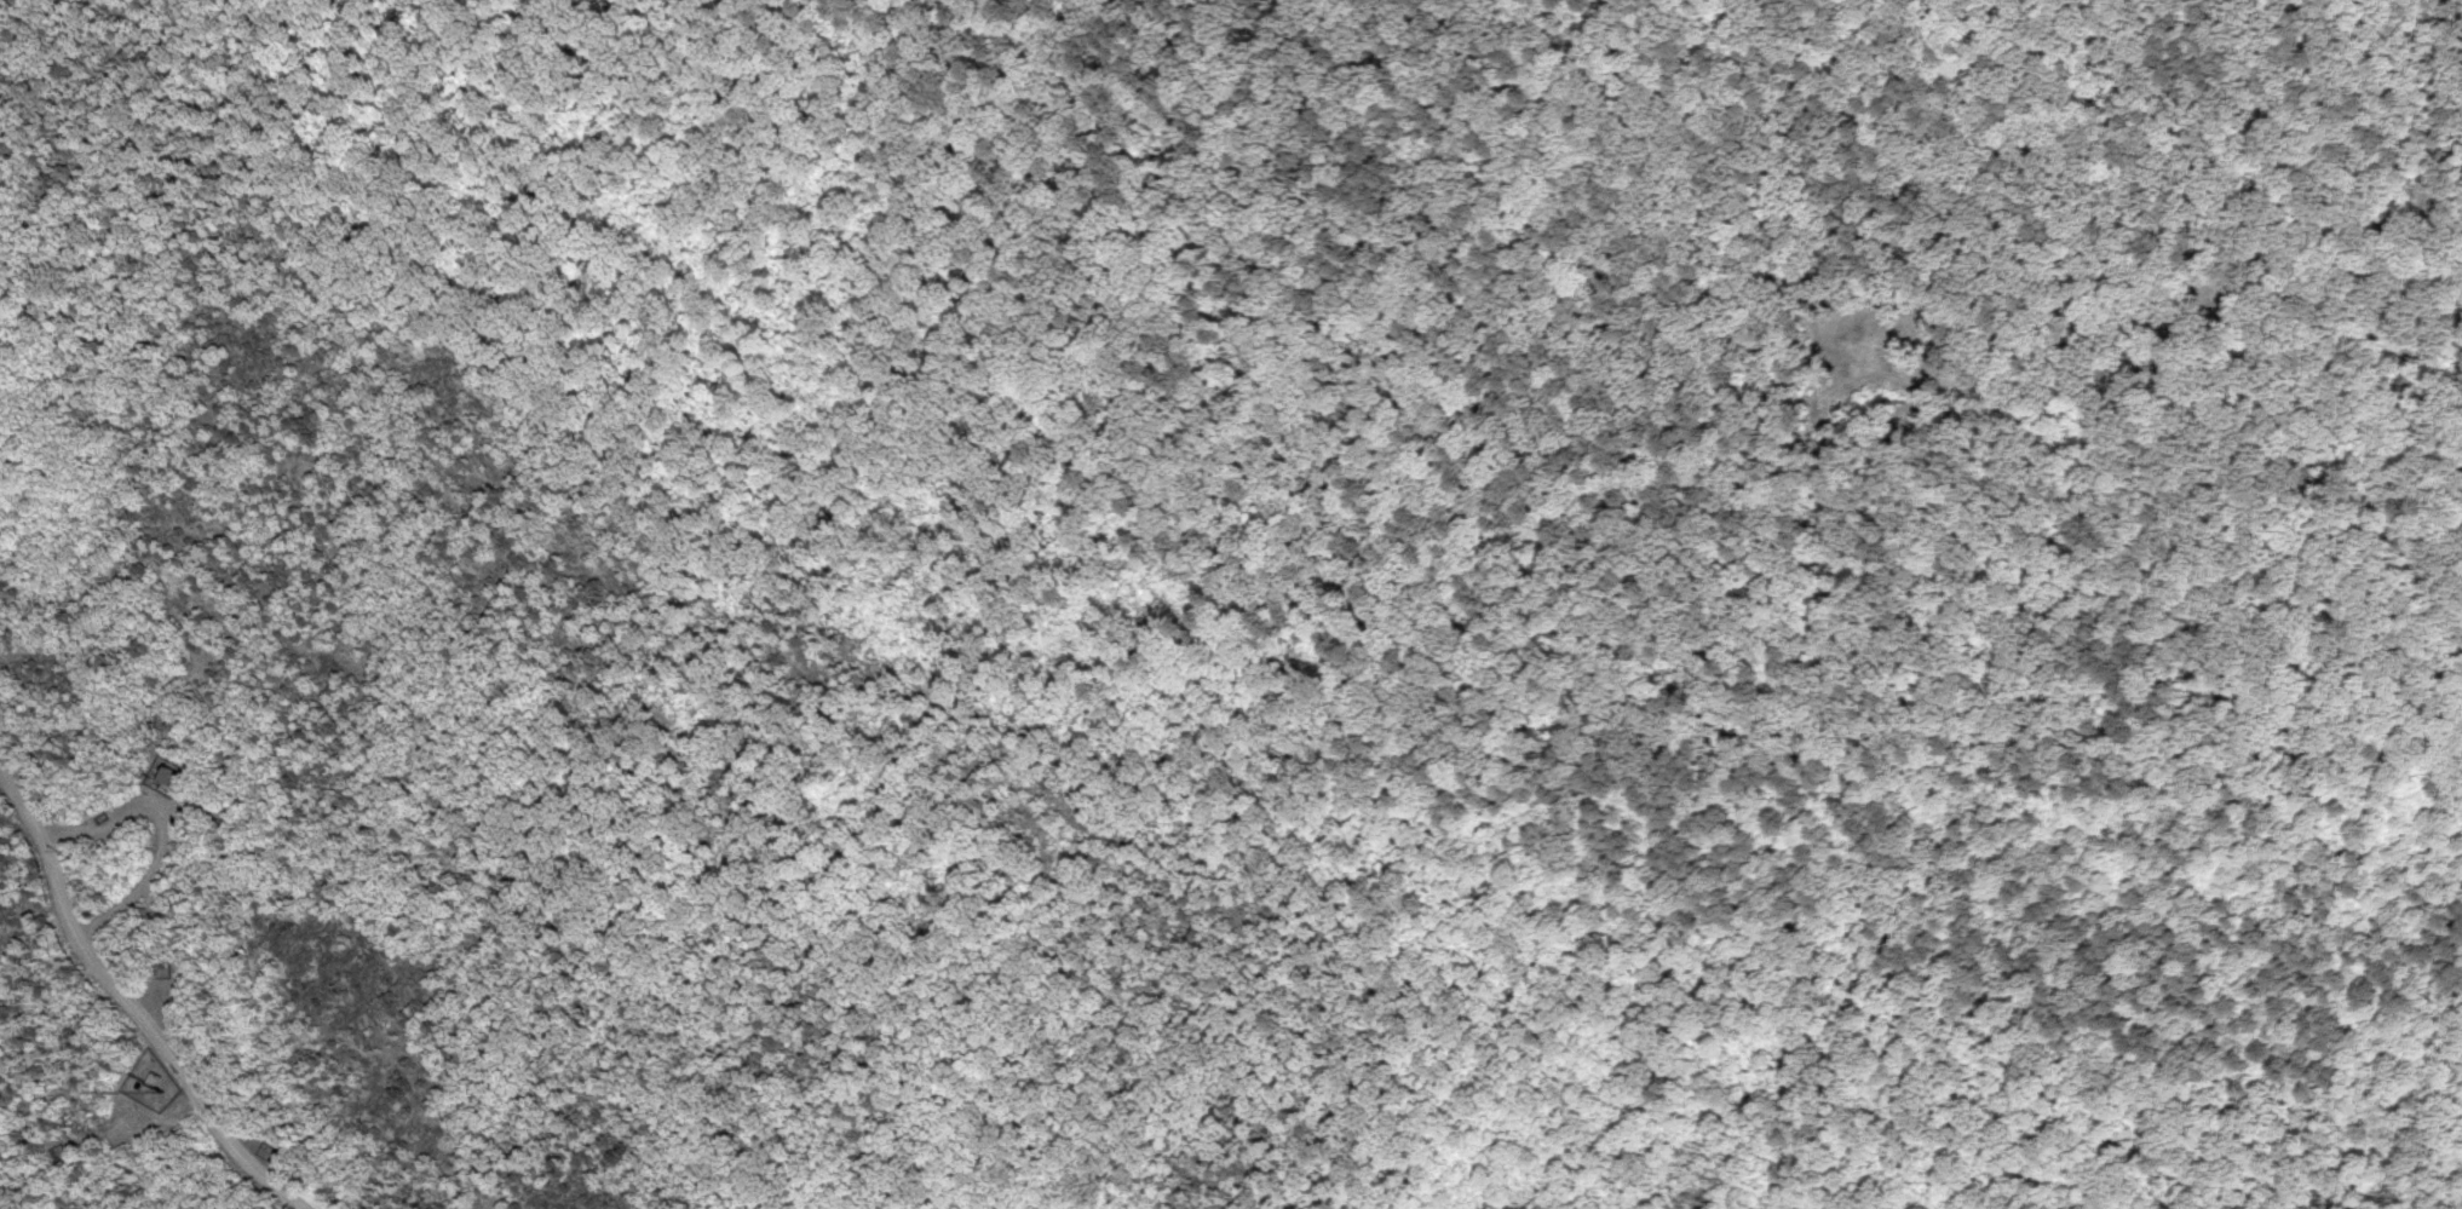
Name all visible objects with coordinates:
building: (166, 776)

